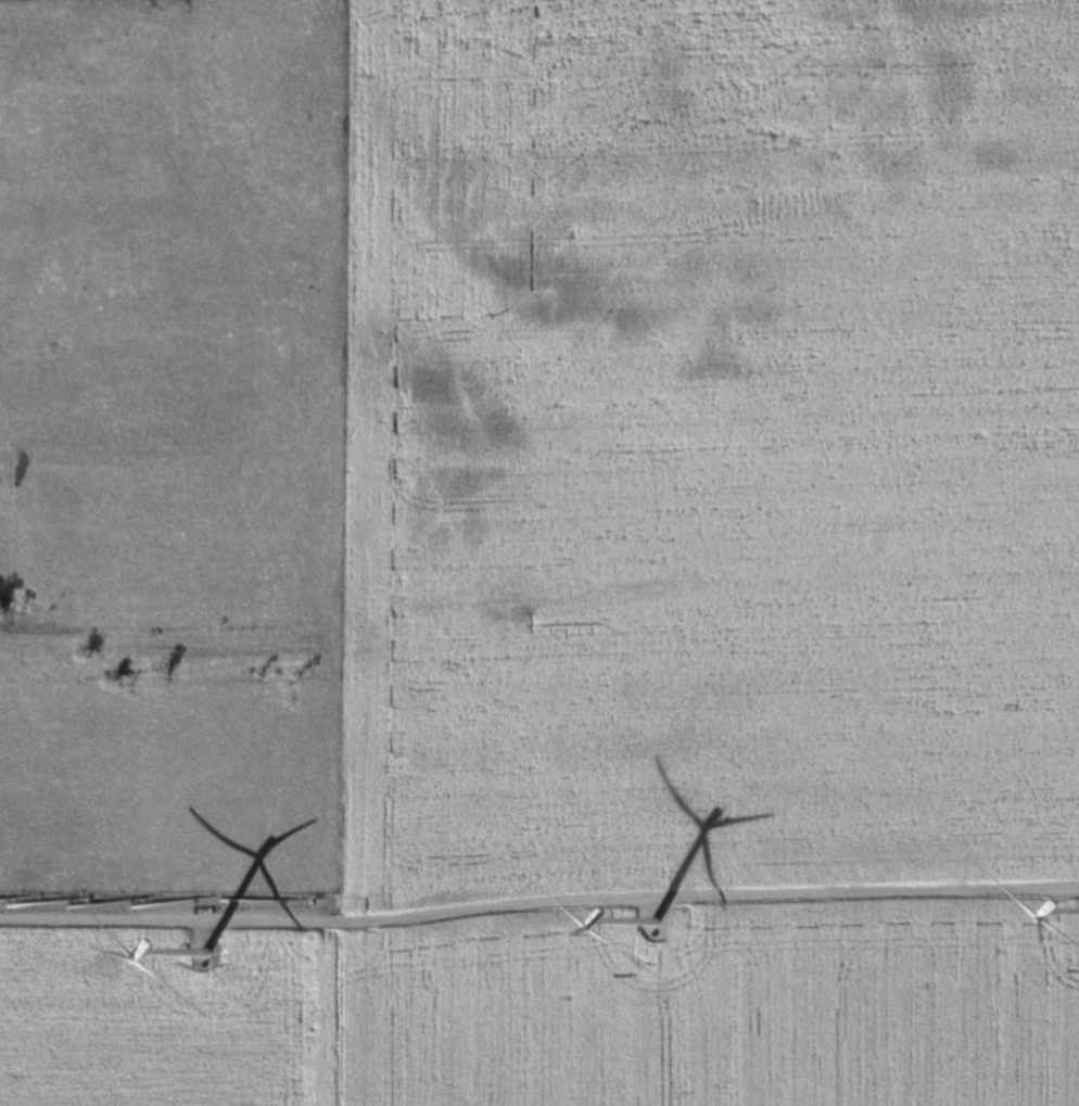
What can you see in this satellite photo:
road: (538, 908)
wind turbine: (661, 940)
wind turbine: (205, 966)

